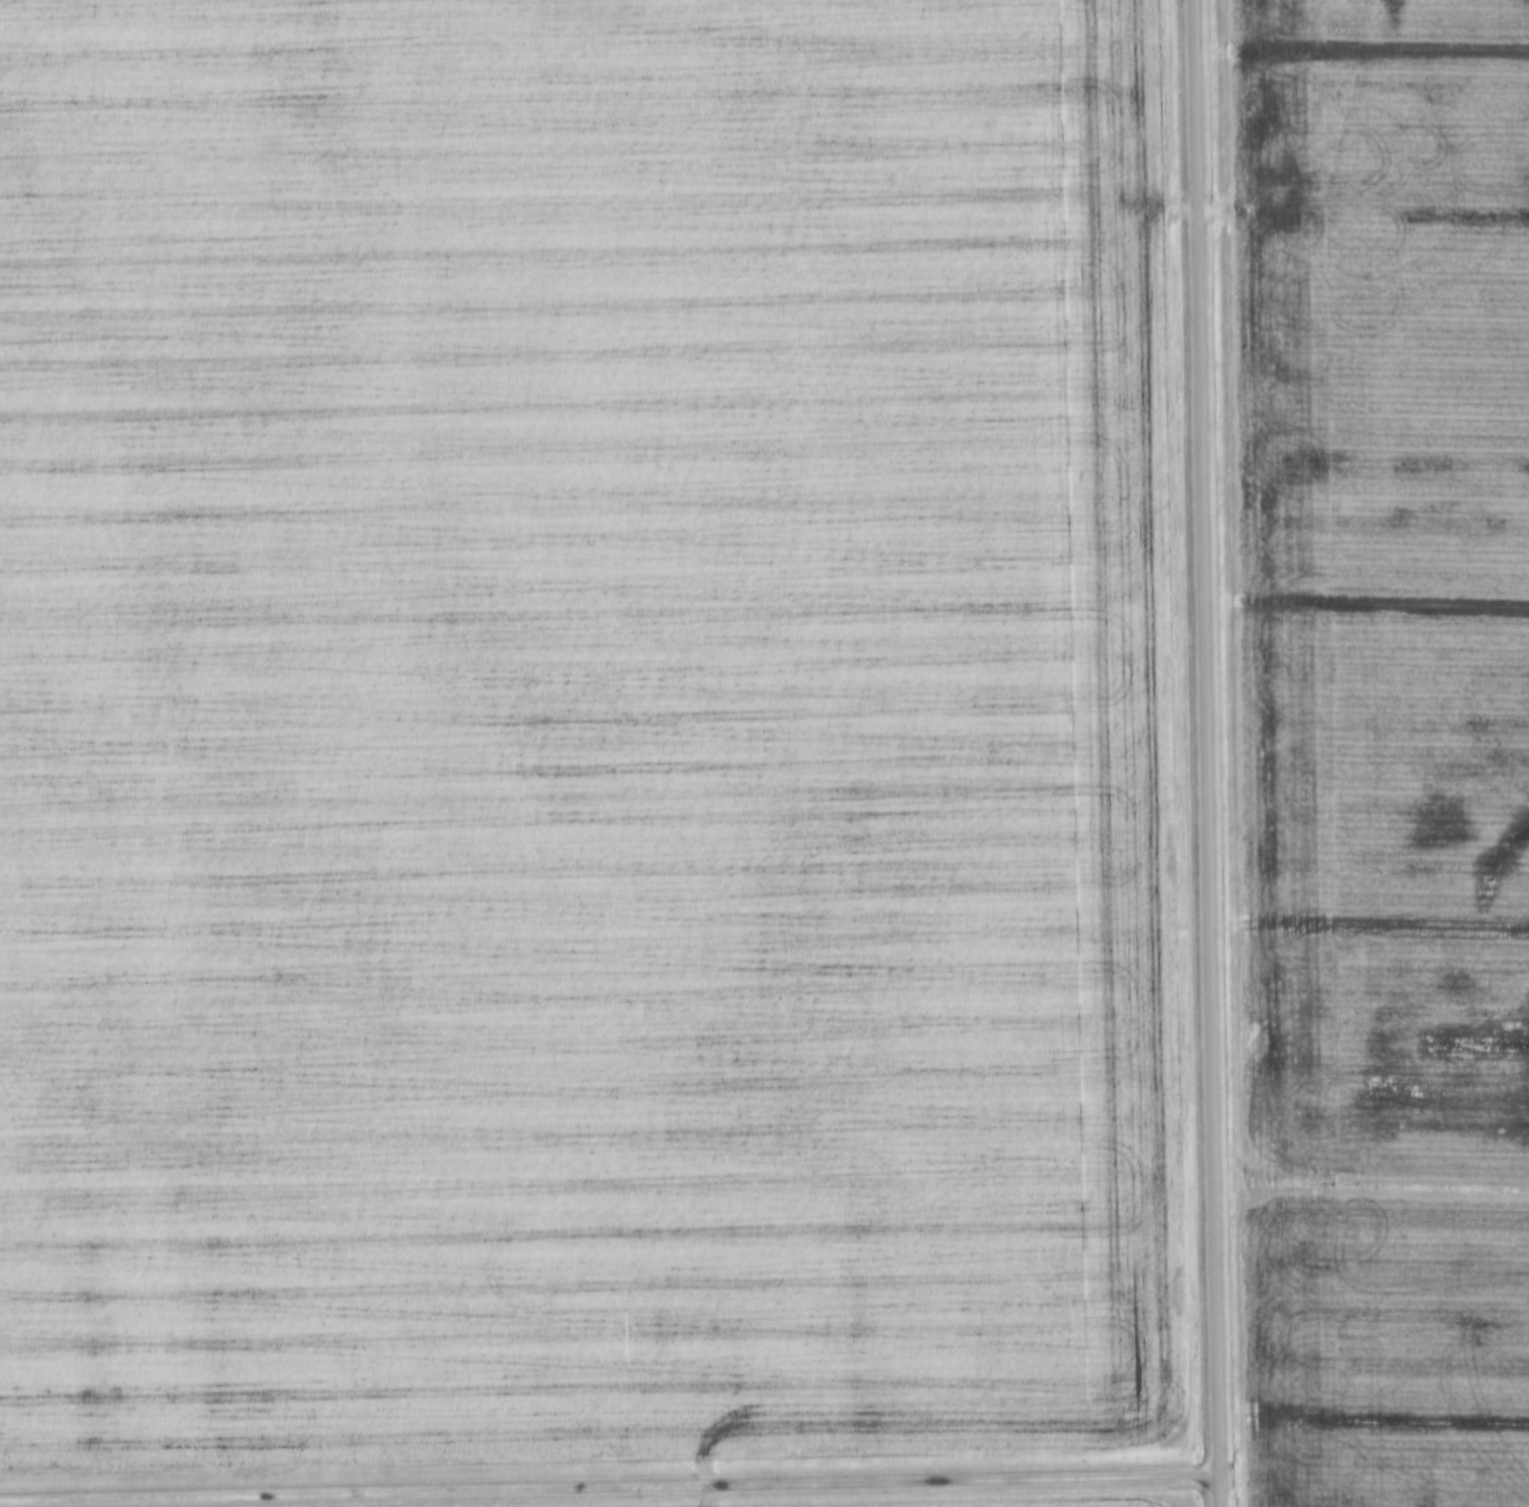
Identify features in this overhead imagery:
road: (1187, 753)

